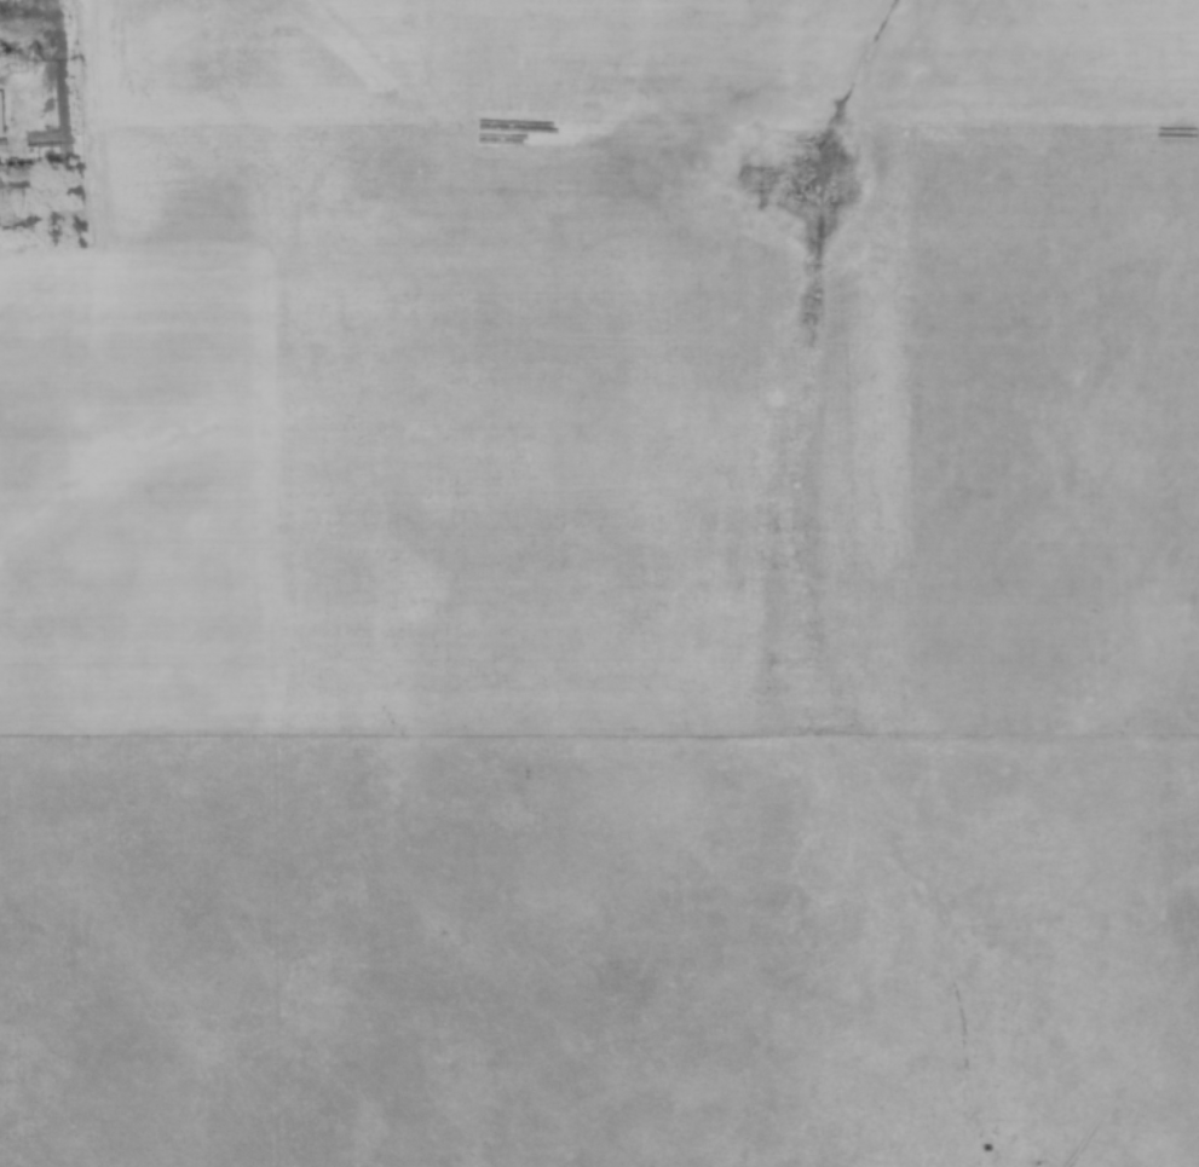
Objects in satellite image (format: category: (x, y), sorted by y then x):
road: (22, 131)

